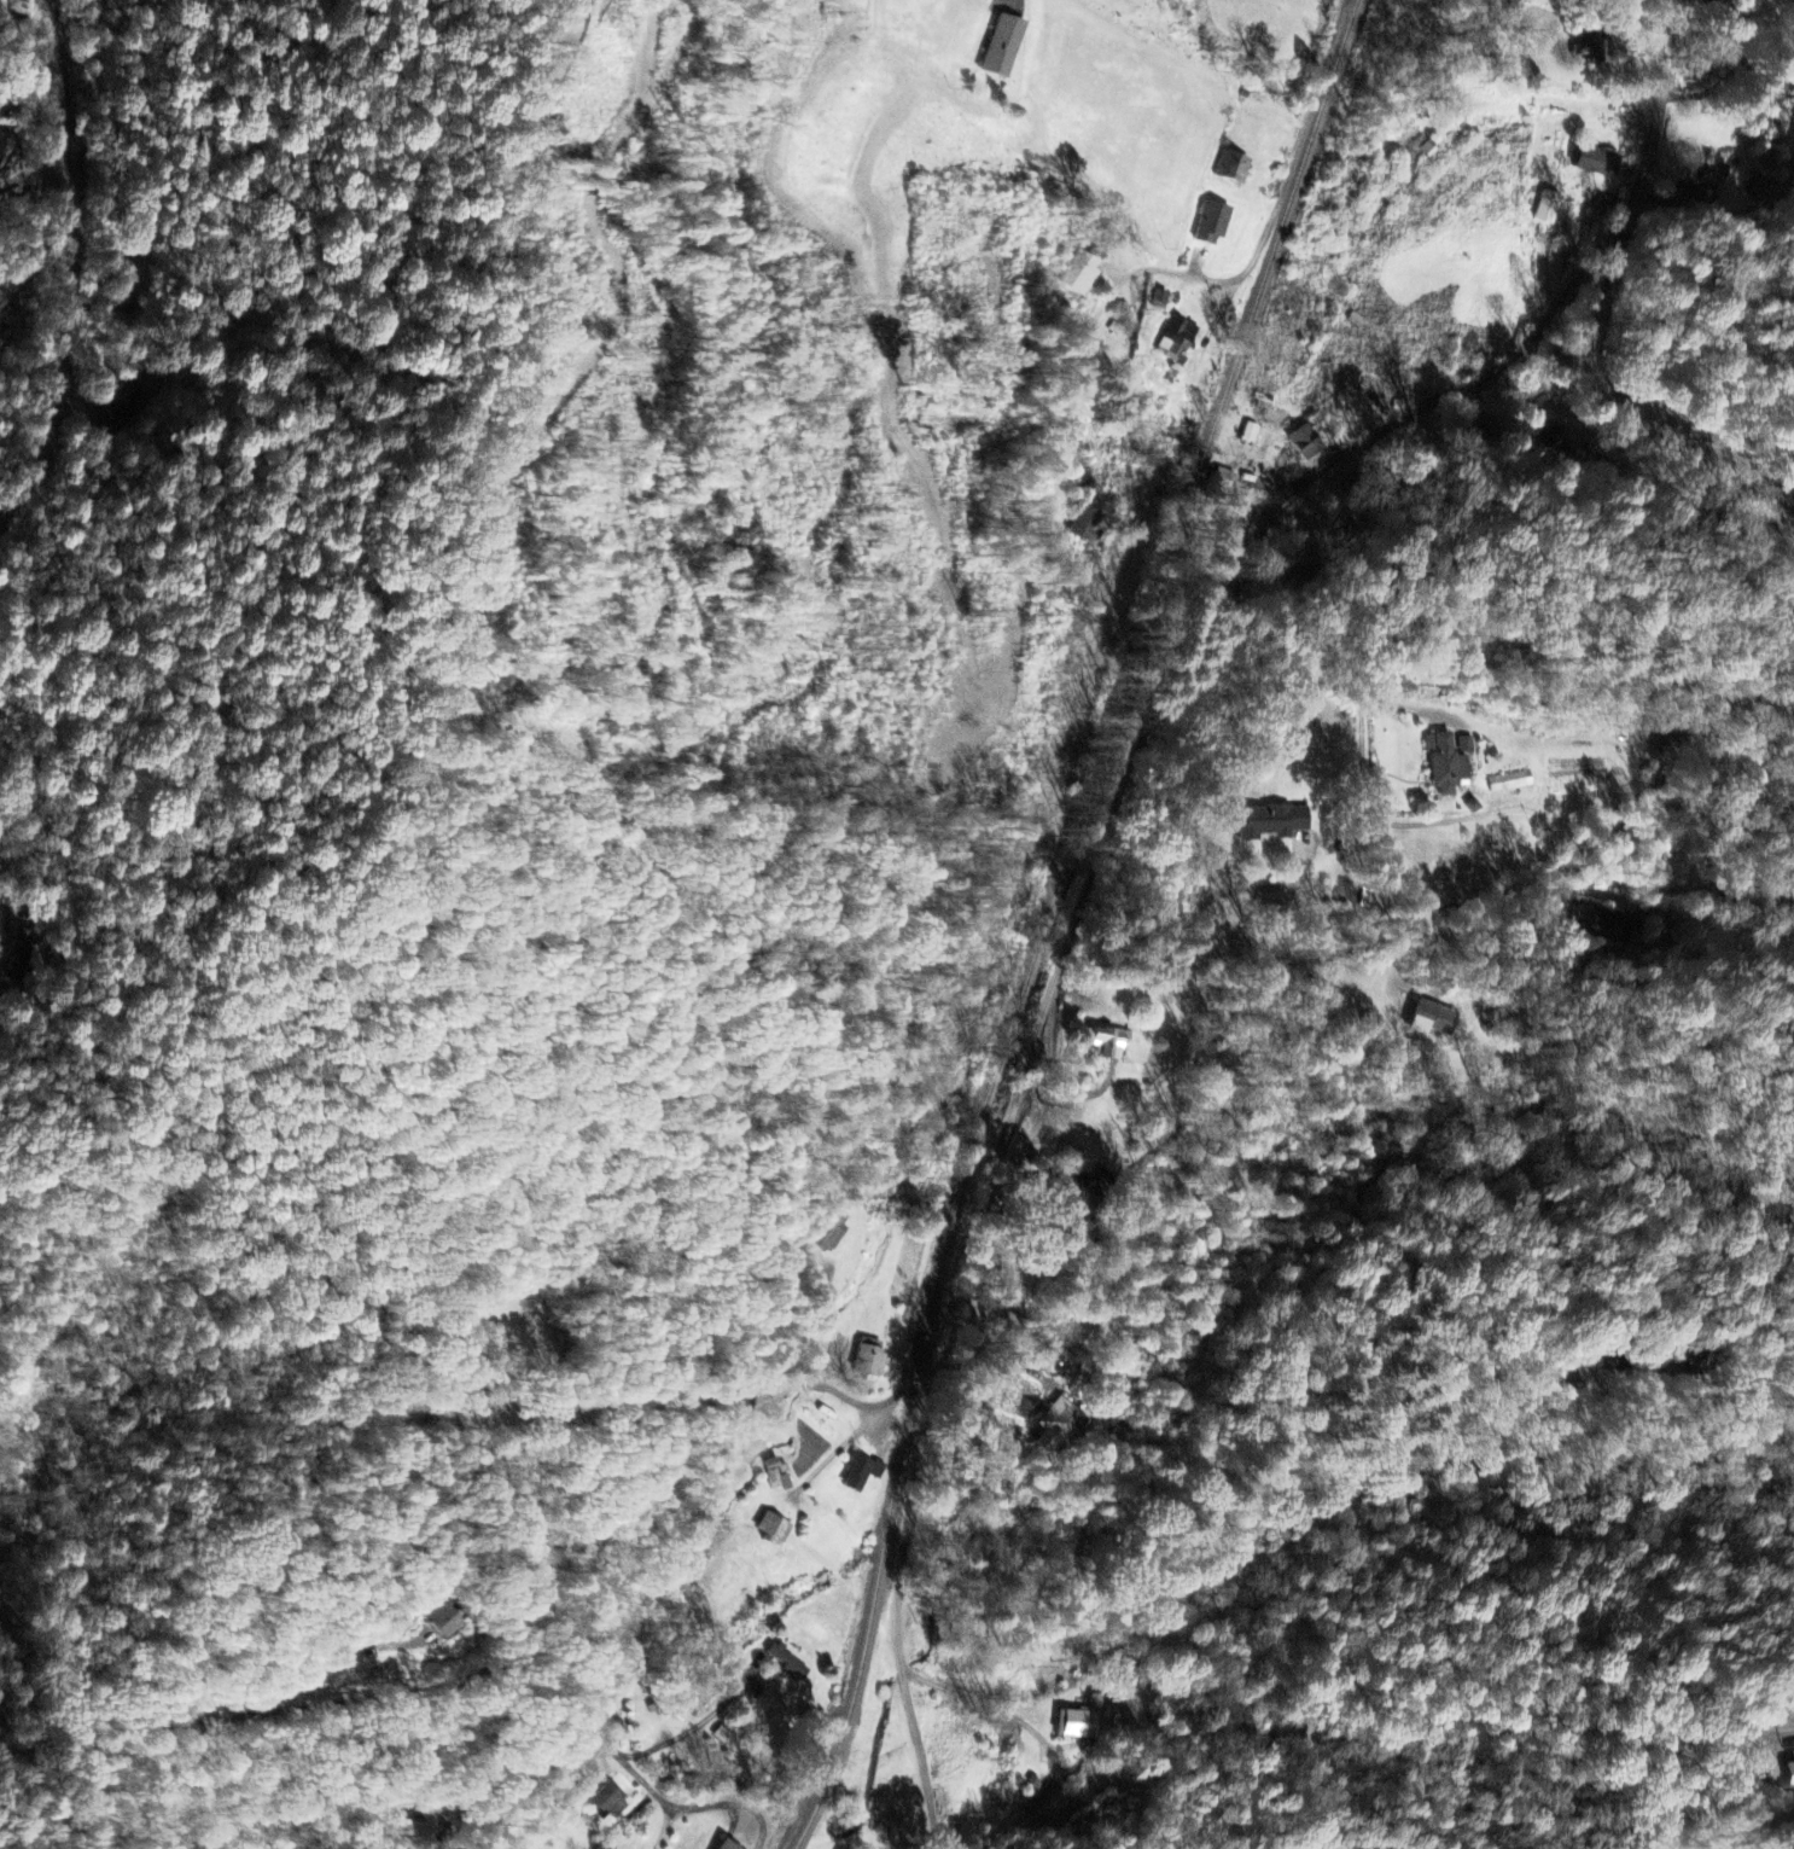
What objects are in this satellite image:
road: (1014, 2)
building: (6, 6)
building: (1002, 48)
building: (1597, 56)
building: (5, 146)
building: (1427, 151)
building: (1597, 163)
building: (1234, 169)
building: (1708, 180)
building: (1212, 226)
road: (69, 268)
building: (1084, 274)
road: (1206, 278)
road: (1594, 314)
building: (1177, 347)
building: (124, 400)
building: (1305, 444)
building: (1224, 479)
road: (1428, 533)
building: (1445, 767)
building: (1510, 783)
building: (1271, 821)
railway: (1050, 918)
building: (1598, 921)
building: (1432, 1019)
building: (1108, 1043)
road: (1165, 1092)
road: (1029, 1098)
park: (518, 1332)
building: (867, 1359)
building: (1061, 1424)
building: (861, 1473)
building: (773, 1529)
road: (896, 1609)
building: (443, 1621)
building: (787, 1664)
road: (296, 1706)
building: (1081, 1725)
road: (1790, 1739)
road: (629, 1764)
building: (1789, 1774)
road: (657, 1793)
road: (666, 1806)
building: (726, 1845)

